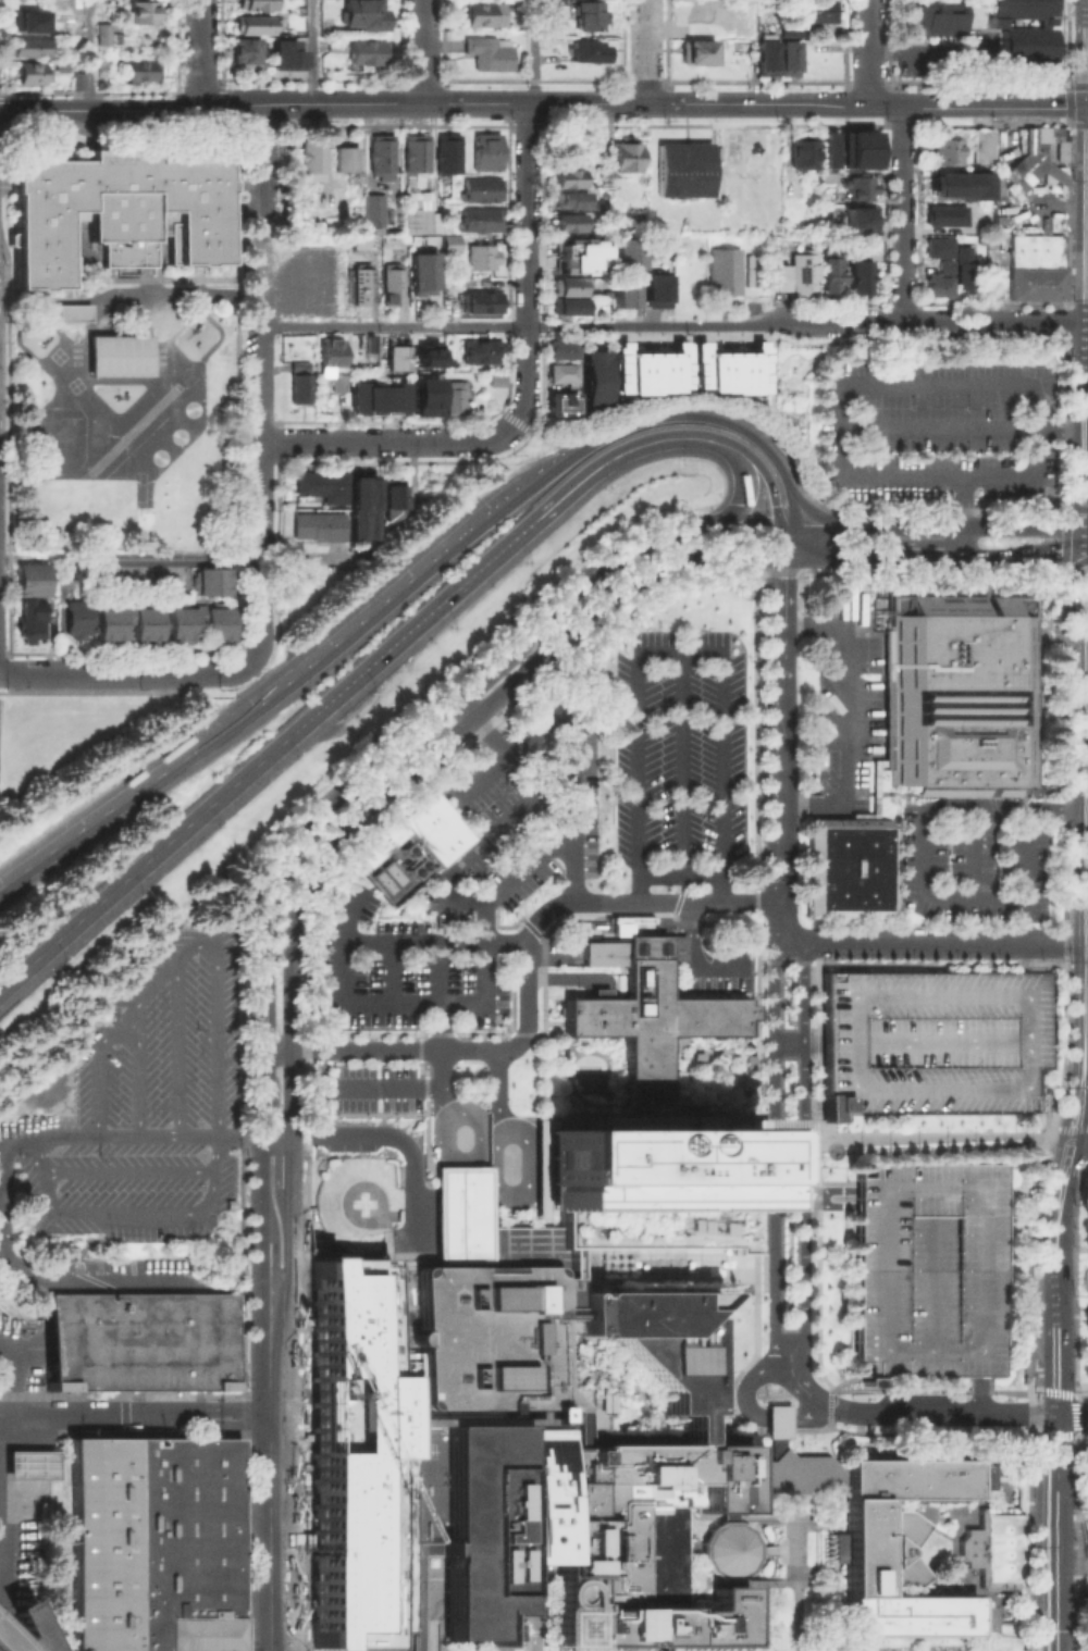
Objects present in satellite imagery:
building: (255, 3)
building: (1018, 5)
building: (583, 10)
building: (701, 10)
building: (814, 10)
building: (143, 11)
building: (483, 12)
building: (361, 13)
building: (929, 15)
building: (29, 20)
building: (256, 24)
building: (784, 26)
building: (100, 32)
building: (1026, 42)
building: (26, 44)
building: (582, 47)
building: (357, 48)
building: (244, 49)
building: (697, 50)
building: (764, 50)
road: (922, 50)
road: (312, 51)
road: (424, 51)
road: (646, 51)
building: (289, 52)
road: (534, 52)
road: (867, 52)
road: (200, 53)
building: (787, 53)
road: (90, 54)
building: (493, 55)
building: (99, 67)
building: (140, 69)
building: (28, 71)
building: (75, 78)
road: (756, 104)
road: (211, 105)
building: (981, 144)
building: (828, 148)
building: (856, 148)
building: (951, 153)
building: (490, 154)
building: (806, 154)
building: (452, 156)
building: (629, 157)
building: (310, 159)
building: (385, 159)
building: (349, 161)
building: (420, 162)
building: (1024, 167)
building: (682, 169)
building: (830, 179)
building: (570, 182)
building: (954, 186)
building: (862, 190)
building: (795, 191)
building: (485, 193)
road: (261, 202)
building: (572, 202)
building: (116, 208)
building: (376, 213)
road: (902, 213)
road: (527, 215)
building: (418, 216)
building: (860, 218)
building: (948, 218)
building: (485, 223)
building: (572, 225)
building: (455, 247)
building: (939, 247)
building: (572, 249)
building: (625, 252)
building: (485, 260)
building: (948, 268)
building: (747, 270)
building: (1039, 270)
building: (834, 272)
building: (968, 274)
building: (725, 275)
building: (779, 276)
building: (805, 276)
building: (426, 277)
building: (862, 280)
building: (366, 286)
building: (391, 286)
building: (571, 287)
building: (941, 287)
building: (621, 294)
building: (659, 294)
building: (484, 305)
building: (571, 309)
building: (72, 312)
road: (261, 313)
road: (938, 322)
road: (768, 323)
road: (394, 326)
road: (636, 326)
building: (425, 350)
building: (564, 351)
building: (116, 355)
building: (396, 355)
building: (482, 355)
building: (333, 358)
building: (728, 368)
building: (302, 369)
building: (647, 369)
road: (526, 374)
building: (562, 375)
building: (595, 376)
building: (495, 380)
road: (915, 383)
road: (261, 384)
building: (342, 386)
building: (304, 392)
building: (425, 395)
building: (381, 398)
building: (458, 400)
building: (561, 402)
road: (684, 402)
road: (642, 422)
road: (521, 424)
road: (940, 430)
parking lot: (939, 431)
road: (1062, 431)
road: (391, 442)
road: (619, 455)
road: (764, 470)
road: (745, 483)
building: (326, 487)
road: (261, 494)
road: (964, 501)
building: (397, 502)
building: (364, 506)
road: (882, 509)
road: (811, 510)
road: (749, 525)
road: (806, 525)
road: (899, 525)
road: (1025, 526)
building: (321, 529)
road: (524, 530)
road: (779, 541)
road: (788, 541)
road: (639, 542)
road: (964, 543)
road: (1037, 546)
road: (180, 557)
road: (841, 557)
road: (932, 558)
road: (975, 559)
road: (1036, 562)
building: (209, 581)
building: (36, 582)
road: (393, 595)
road: (610, 599)
road: (261, 607)
building: (75, 619)
building: (126, 619)
building: (197, 619)
building: (34, 622)
road: (533, 624)
road: (392, 645)
road: (678, 654)
road: (481, 669)
road: (236, 671)
road: (110, 674)
building: (963, 692)
parking lot: (843, 704)
road: (463, 706)
road: (845, 719)
road: (518, 744)
road: (782, 752)
parking lot: (671, 754)
road: (680, 761)
road: (164, 771)
road: (482, 777)
road: (238, 779)
road: (571, 804)
road: (323, 807)
road: (1055, 807)
road: (480, 841)
building: (410, 846)
road: (968, 852)
road: (323, 854)
parking lot: (970, 859)
building: (846, 867)
road: (681, 869)
road: (924, 889)
road: (102, 899)
road: (679, 902)
parking lot: (445, 914)
road: (1022, 918)
road: (390, 940)
road: (937, 941)
road: (202, 944)
road: (1022, 956)
road: (694, 957)
road: (527, 961)
parking lot: (727, 961)
road: (565, 977)
road: (1024, 996)
road: (457, 1003)
building: (646, 1009)
road: (259, 1016)
building: (931, 1040)
parking lot: (931, 1040)
road: (811, 1041)
road: (936, 1041)
road: (275, 1051)
road: (404, 1051)
road: (441, 1054)
building: (695, 1055)
building: (715, 1055)
building: (747, 1058)
road: (385, 1085)
parking lot: (373, 1087)
road: (1085, 1088)
road: (496, 1090)
road: (259, 1093)
road: (292, 1093)
road: (609, 1114)
road: (789, 1126)
road: (816, 1126)
road: (1063, 1127)
road: (1076, 1127)
road: (927, 1134)
road: (140, 1135)
road: (238, 1135)
road: (275, 1135)
road: (400, 1139)
road: (13, 1140)
road: (1047, 1143)
road: (1079, 1147)
road: (804, 1150)
road: (774, 1153)
road: (1061, 1166)
road: (1083, 1168)
building: (643, 1184)
building: (758, 1187)
road: (260, 1188)
road: (910, 1188)
road: (522, 1190)
helipad: (361, 1202)
road: (292, 1211)
road: (1058, 1236)
road: (607, 1245)
road: (263, 1262)
road: (926, 1267)
building: (926, 1268)
parking lot: (926, 1268)
park: (1083, 1283)
building: (141, 1340)
road: (275, 1349)
road: (1058, 1369)
road: (792, 1376)
road: (12, 1379)
road: (749, 1381)
road: (1081, 1392)
road: (1074, 1395)
building: (603, 1400)
building: (564, 1414)
road: (928, 1414)
traffic signals: (1058, 1414)
road: (1073, 1414)
road: (164, 1415)
road: (27, 1416)
road: (807, 1417)
building: (775, 1419)
road: (776, 1419)
building: (354, 1448)
building: (28, 1462)
building: (789, 1470)
building: (457, 1522)
road: (1055, 1531)
road: (276, 1532)
building: (150, 1543)
building: (725, 1546)
building: (898, 1546)
building: (992, 1546)
road: (775, 1548)
road: (794, 1572)
road: (0, 1594)
road: (448, 1605)
road: (527, 1624)
helipad: (564, 1626)
road: (24, 1629)
building: (417, 1646)
road: (659, 1648)
road: (1, 1650)

